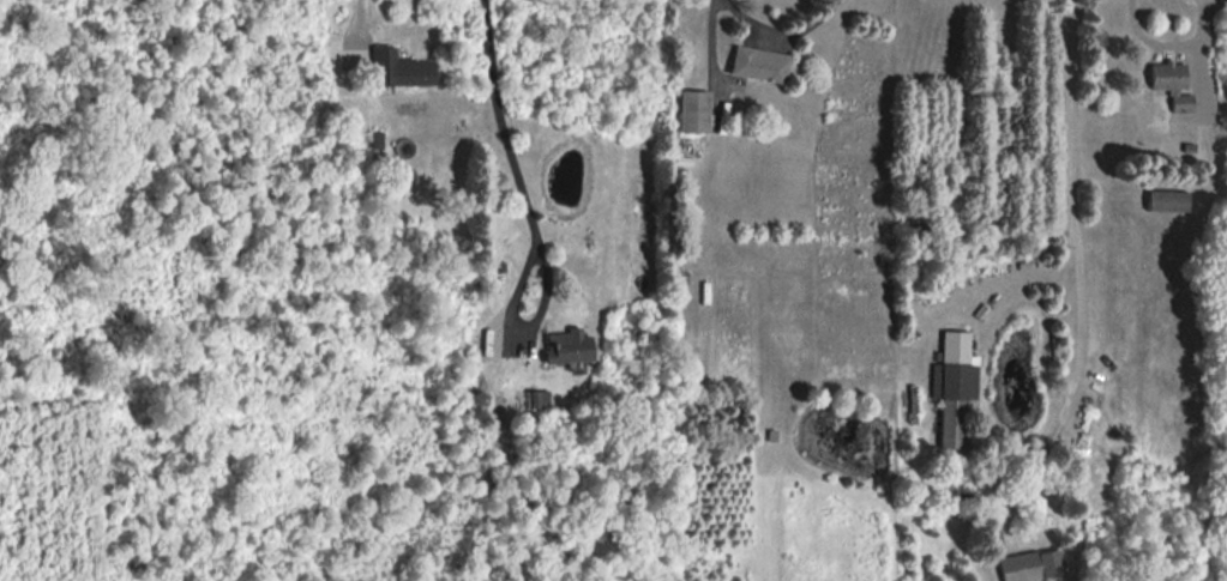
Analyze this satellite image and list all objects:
road: (362, 16)
road: (780, 32)
road: (1169, 46)
building: (756, 66)
building: (403, 71)
building: (1169, 85)
building: (691, 113)
road: (501, 128)
building: (1165, 202)
road: (1077, 231)
road: (518, 331)
building: (564, 347)
building: (952, 389)
building: (1030, 568)

